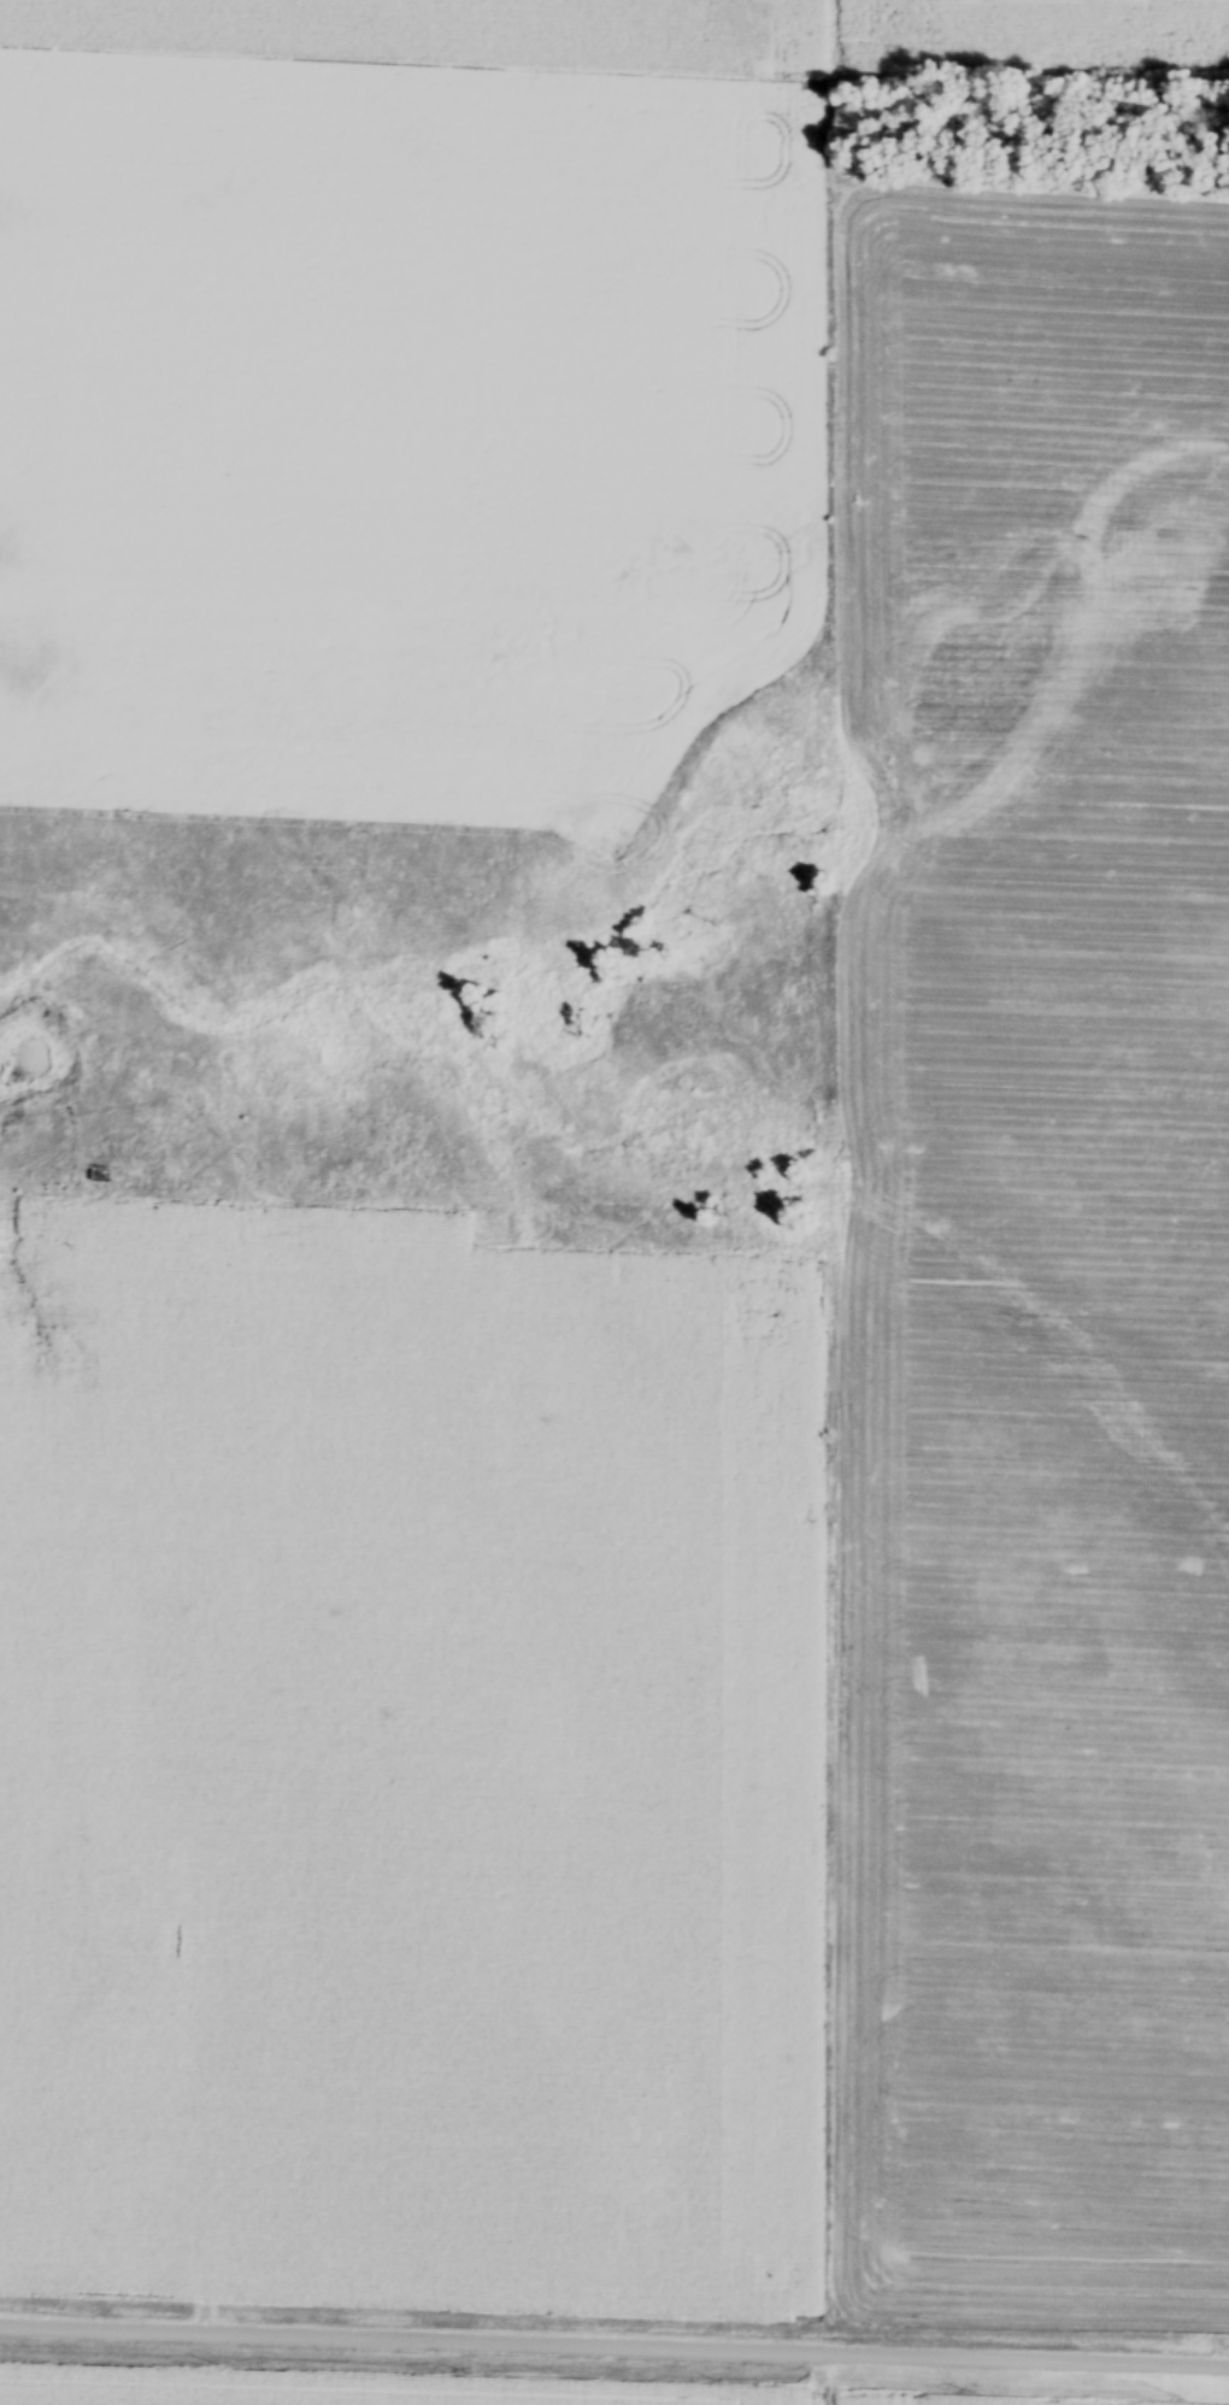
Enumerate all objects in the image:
road: (614, 2345)

